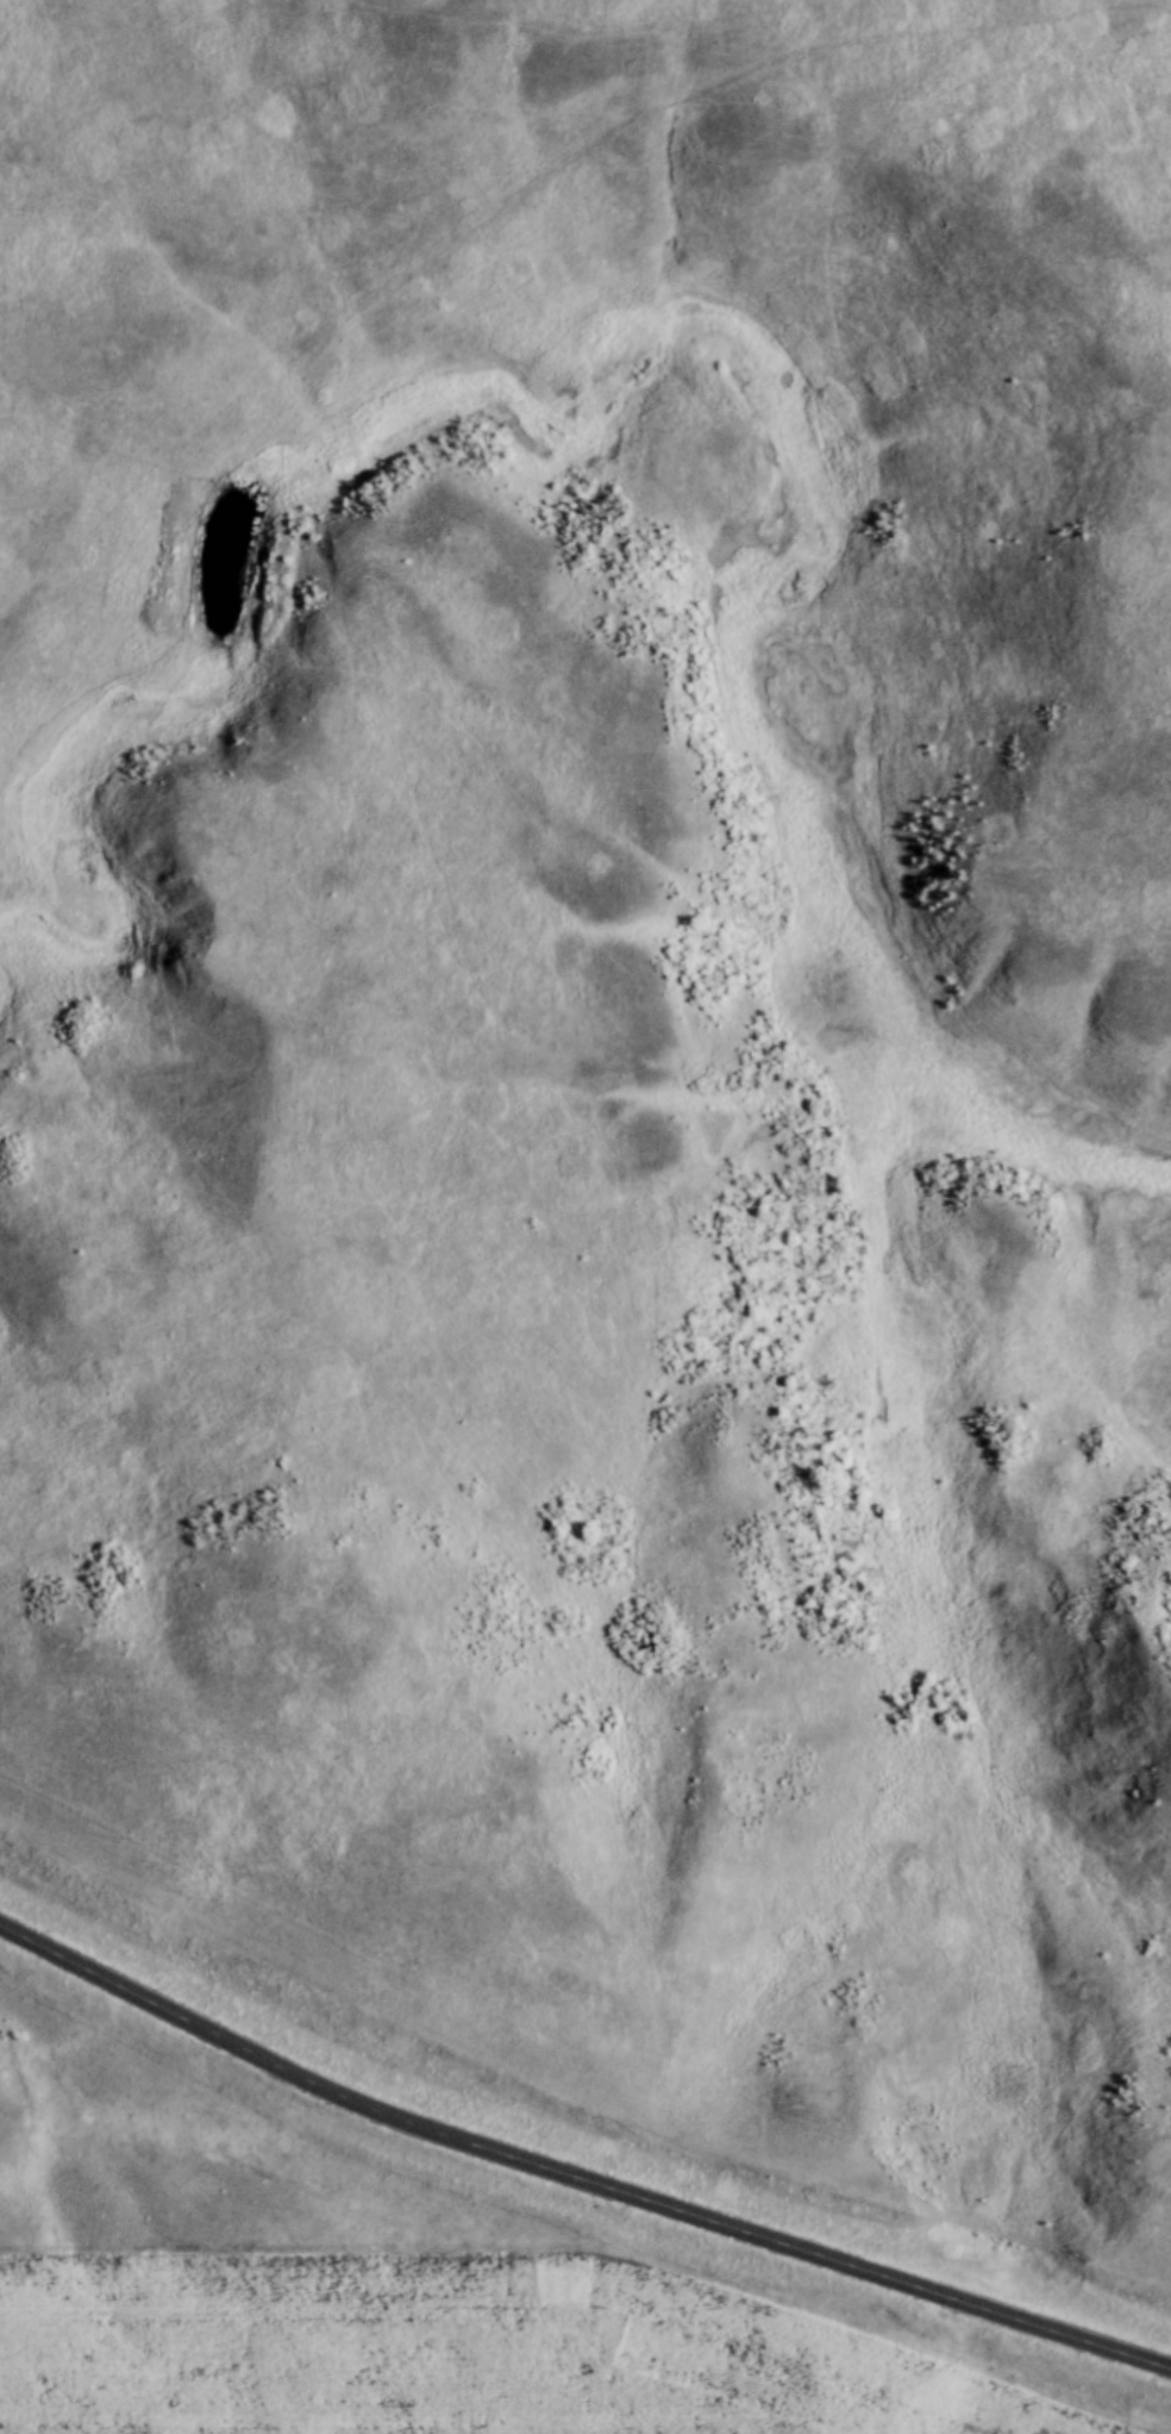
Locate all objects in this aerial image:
road: (575, 2170)

